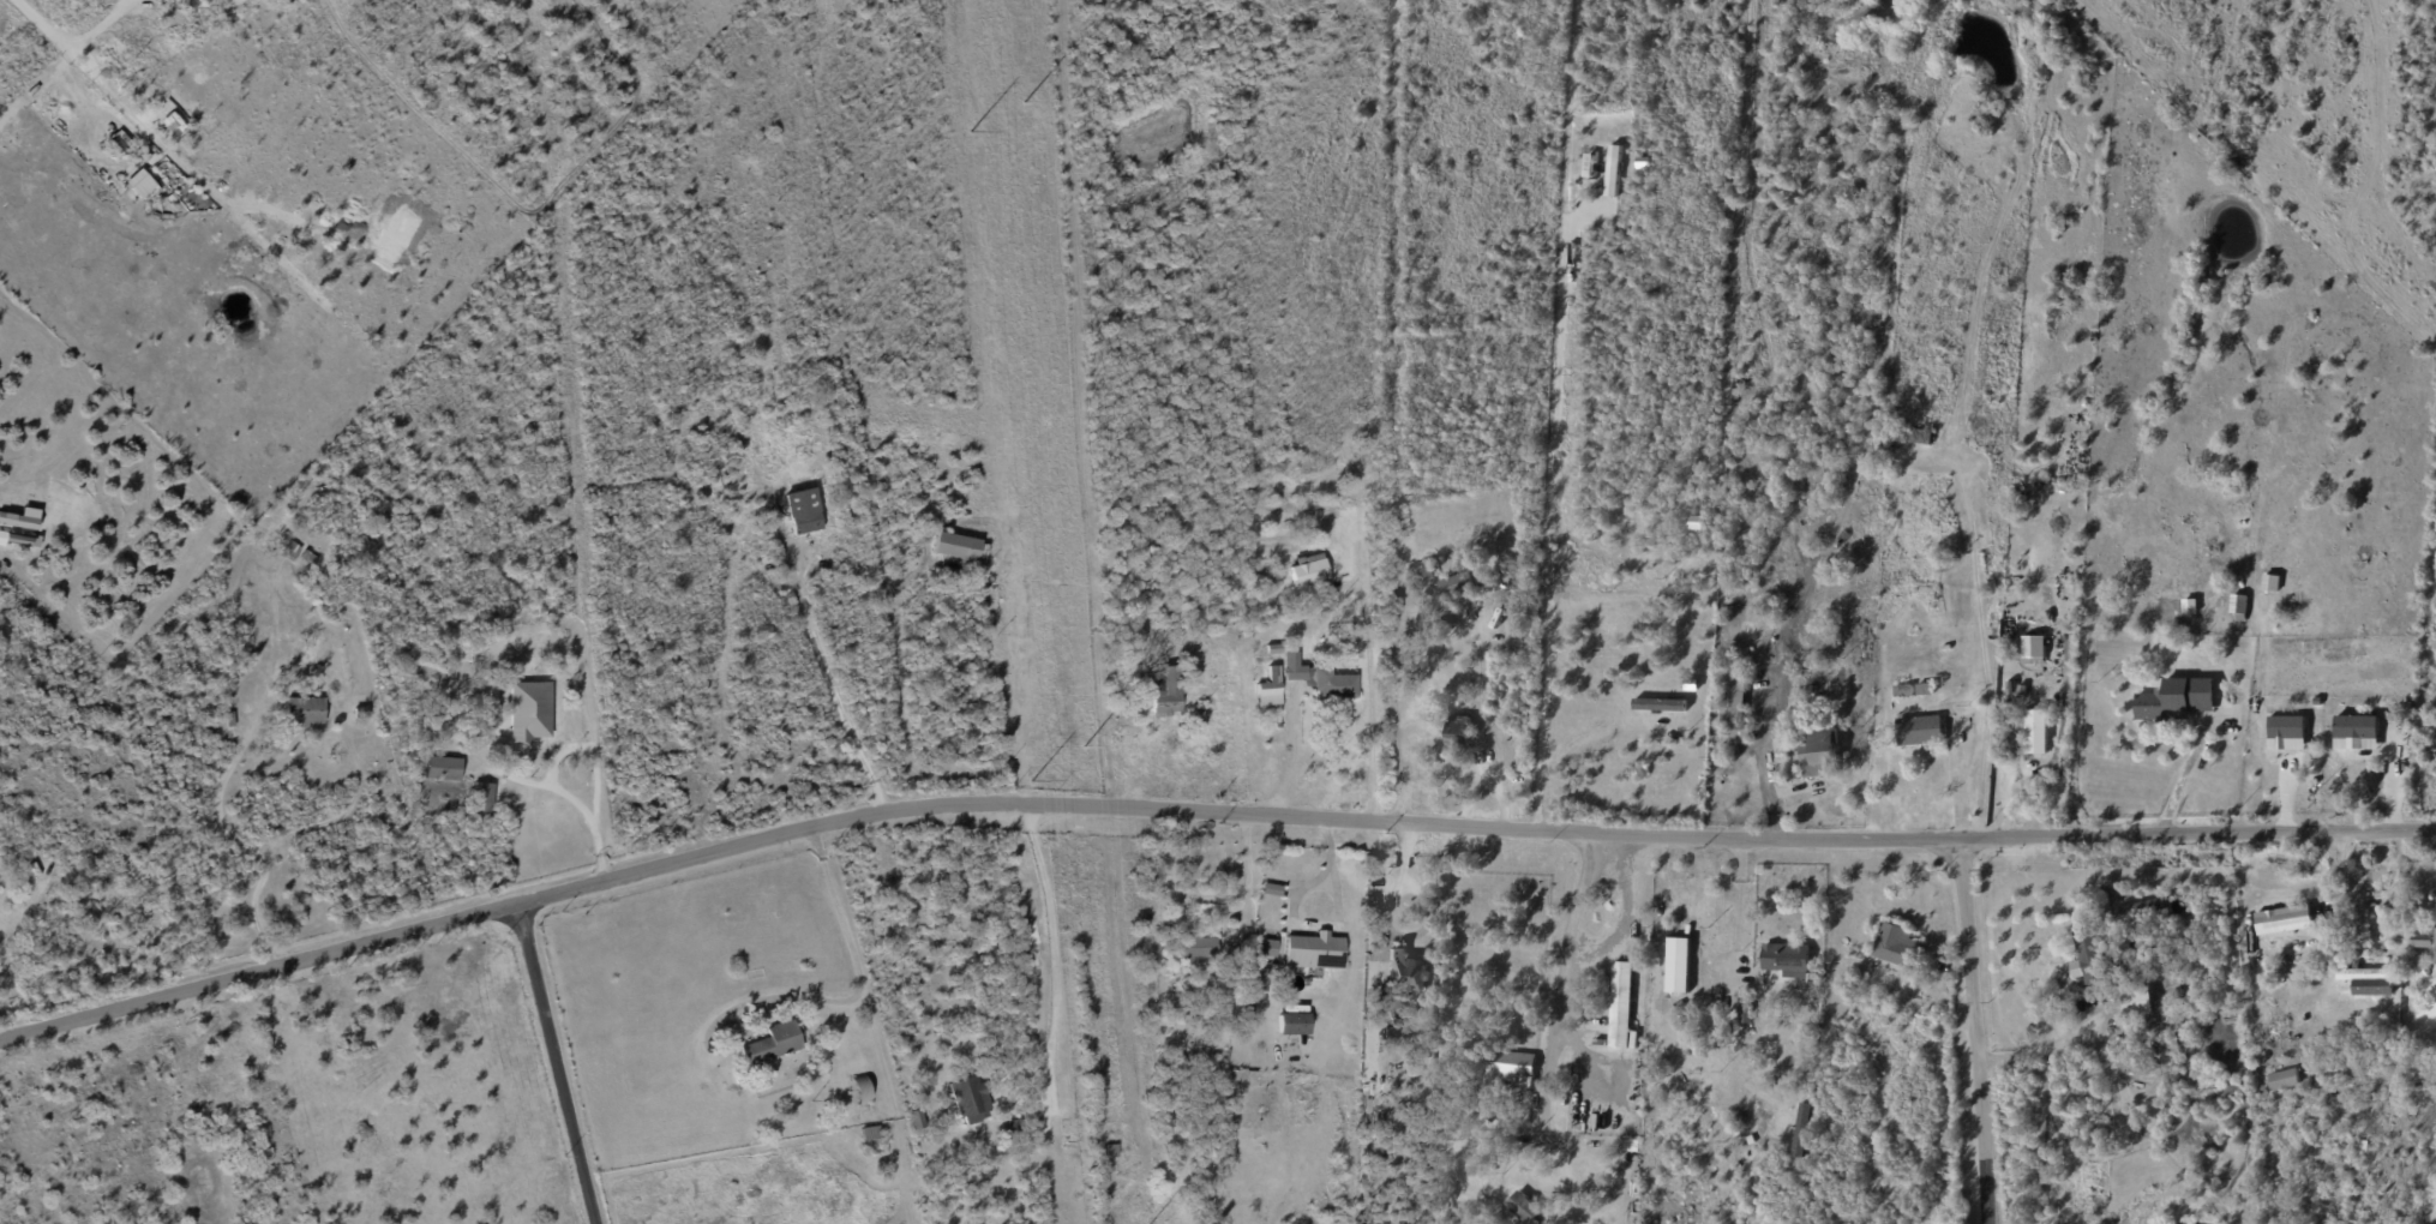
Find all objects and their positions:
road: (42, 25)
building: (172, 122)
building: (1613, 170)
building: (140, 184)
building: (1366, 360)
building: (1897, 433)
building: (1416, 473)
building: (806, 512)
building: (20, 517)
building: (1698, 522)
road: (1552, 528)
building: (1396, 529)
building: (287, 539)
building: (959, 546)
building: (294, 551)
building: (312, 557)
building: (1307, 571)
building: (1422, 574)
building: (2272, 583)
building: (1456, 588)
building: (1913, 588)
building: (496, 598)
building: (1500, 599)
building: (478, 607)
building: (2239, 607)
building: (2272, 614)
building: (1122, 625)
building: (1243, 634)
building: (1272, 649)
road: (1984, 649)
building: (2035, 649)
building: (1339, 650)
building: (1319, 679)
road: (829, 683)
building: (1268, 686)
building: (2008, 688)
building: (1901, 691)
building: (1925, 691)
building: (2023, 691)
building: (1163, 692)
road: (1373, 701)
building: (1195, 704)
building: (1661, 704)
building: (2162, 706)
building: (1734, 708)
building: (364, 712)
building: (533, 712)
building: (307, 713)
building: (232, 719)
building: (1265, 719)
building: (1117, 721)
road: (1487, 722)
road: (1396, 726)
building: (1920, 732)
building: (2358, 732)
building: (2036, 733)
building: (2288, 733)
building: (1458, 736)
road: (594, 742)
building: (1818, 755)
road: (1285, 763)
building: (446, 768)
road: (1764, 768)
road: (2178, 780)
road: (1957, 781)
building: (486, 797)
road: (577, 804)
road: (1202, 811)
road: (242, 846)
road: (1741, 860)
building: (2260, 875)
building: (1268, 888)
road: (1244, 890)
road: (2353, 890)
building: (2243, 899)
building: (16, 905)
road: (1334, 919)
building: (2284, 919)
road: (1388, 926)
road: (1736, 934)
building: (2423, 940)
road: (1054, 946)
building: (1897, 946)
building: (1265, 947)
building: (2178, 948)
building: (1200, 950)
building: (1313, 950)
building: (1786, 958)
building: (2088, 959)
building: (2435, 959)
building: (1680, 970)
building: (1404, 971)
building: (2309, 974)
building: (1253, 979)
building: (2369, 980)
building: (1852, 984)
building: (2173, 984)
building: (1847, 997)
road: (852, 998)
building: (2136, 1003)
road: (1555, 1004)
building: (1620, 1004)
building: (1745, 1013)
building: (1289, 1022)
road: (1976, 1032)
building: (2254, 1036)
building: (770, 1044)
building: (2174, 1044)
road: (2045, 1048)
road: (568, 1064)
building: (1507, 1067)
building: (797, 1072)
building: (2344, 1072)
building: (2405, 1078)
building: (2284, 1079)
building: (863, 1092)
building: (972, 1104)
building: (1262, 1110)
building: (914, 1118)
building: (1009, 1127)
building: (872, 1132)
building: (2364, 1144)
building: (1624, 1146)
building: (1111, 1151)
building: (1522, 1208)
building: (1550, 1223)

